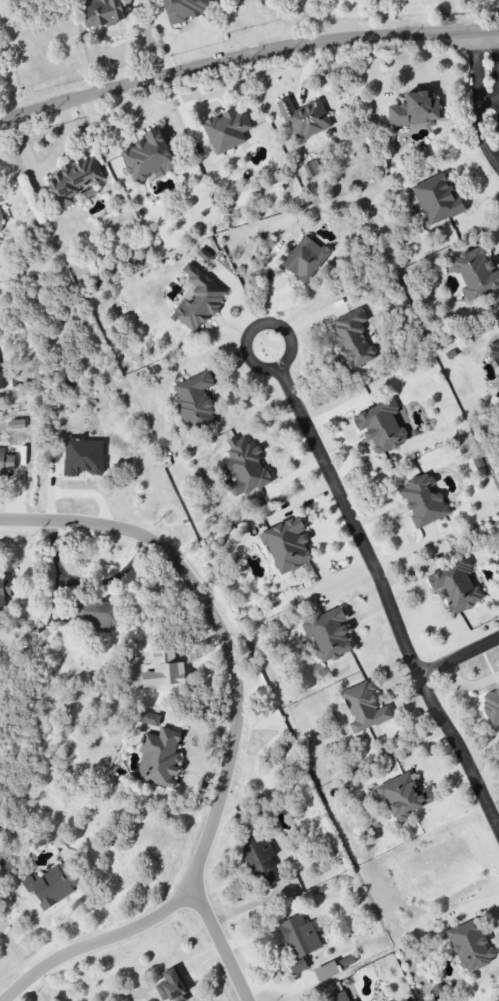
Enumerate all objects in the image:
building: (262, 0)
building: (185, 9)
building: (102, 12)
road: (246, 60)
road: (476, 68)
road: (488, 101)
building: (414, 110)
building: (304, 118)
building: (227, 130)
road: (480, 136)
building: (148, 156)
building: (312, 168)
building: (74, 180)
building: (0, 199)
building: (437, 200)
building: (1, 221)
building: (305, 259)
building: (475, 273)
building: (198, 300)
building: (353, 338)
road: (246, 348)
building: (494, 350)
building: (0, 380)
building: (195, 401)
building: (17, 424)
building: (381, 426)
building: (83, 457)
building: (6, 464)
building: (246, 467)
building: (423, 501)
building: (287, 545)
road: (86, 582)
building: (456, 586)
building: (4, 590)
road: (388, 597)
building: (97, 614)
building: (329, 634)
road: (459, 657)
building: (492, 705)
building: (364, 707)
building: (150, 719)
road: (235, 737)
building: (159, 758)
building: (404, 797)
building: (260, 858)
building: (52, 884)
road: (81, 903)
road: (46, 931)
building: (299, 941)
building: (471, 945)
road: (220, 946)
building: (326, 971)
building: (171, 987)
building: (338, 997)
building: (355, 1000)

